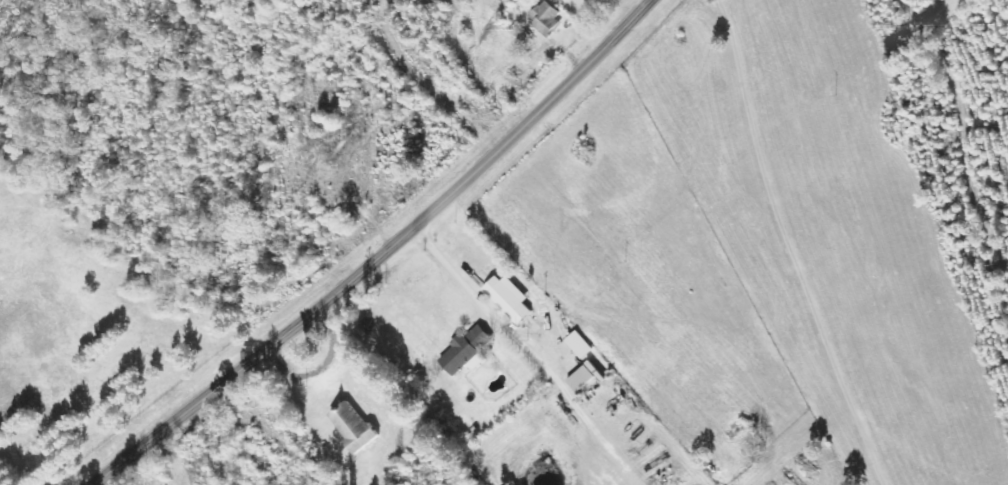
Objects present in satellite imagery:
building: (550, 19)
road: (440, 71)
road: (383, 255)
road: (454, 274)
building: (506, 298)
road: (386, 343)
building: (464, 351)
building: (581, 377)
road: (437, 418)
building: (350, 427)

